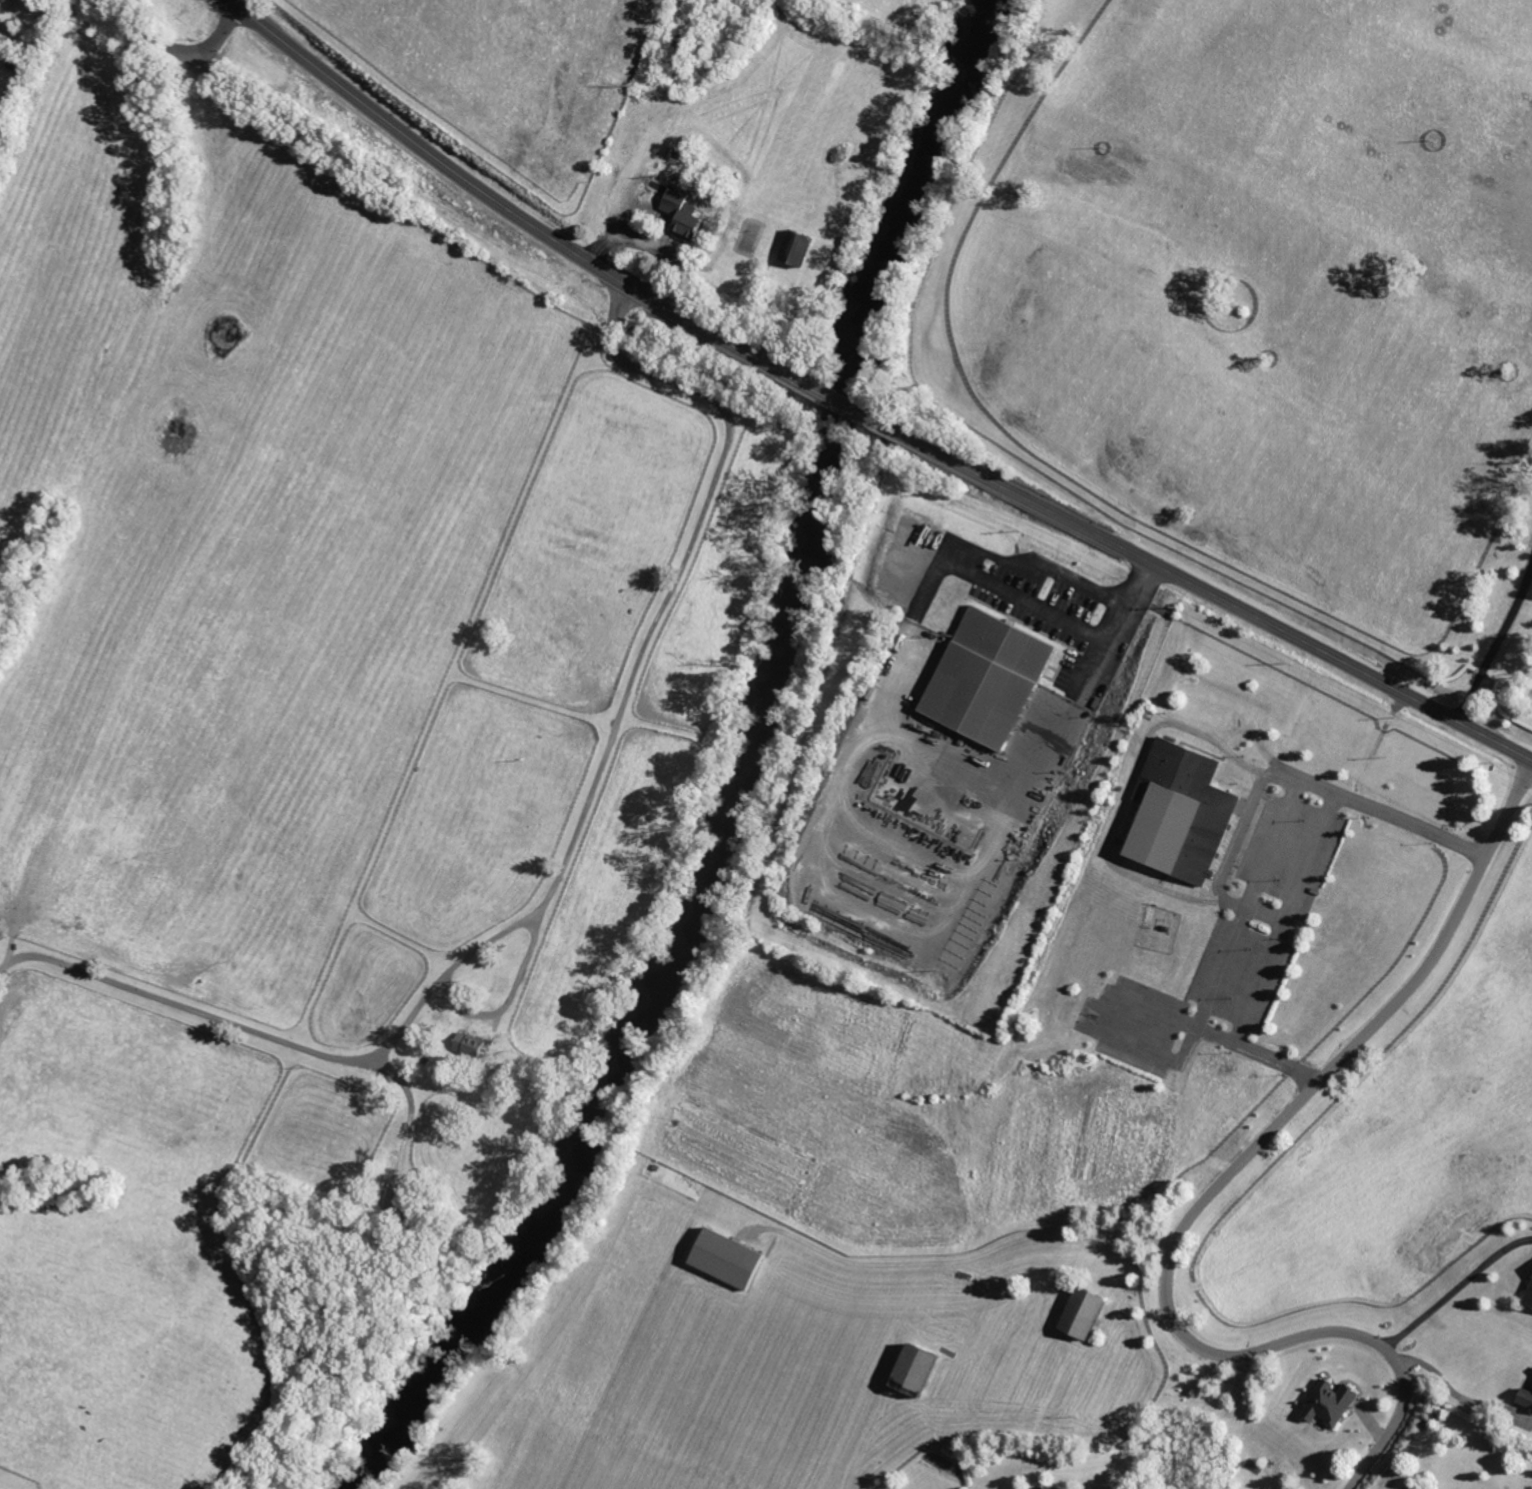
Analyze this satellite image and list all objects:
road: (239, 2)
road: (171, 47)
road: (496, 201)
building: (682, 224)
building: (794, 248)
road: (844, 403)
road: (979, 558)
road: (1220, 596)
road: (1118, 628)
road: (1497, 644)
building: (984, 677)
road: (910, 742)
river: (758, 772)
road: (1126, 793)
building: (1180, 812)
road: (1243, 832)
road: (567, 861)
road: (1261, 873)
road: (1284, 919)
road: (509, 999)
building: (469, 1044)
road: (412, 1112)
road: (1214, 1189)
building: (722, 1257)
road: (962, 1260)
road: (1455, 1291)
building: (1529, 1298)
building: (1078, 1312)
building: (910, 1366)
road: (1452, 1391)
building: (1526, 1398)
building: (1326, 1403)
building: (1049, 1488)

